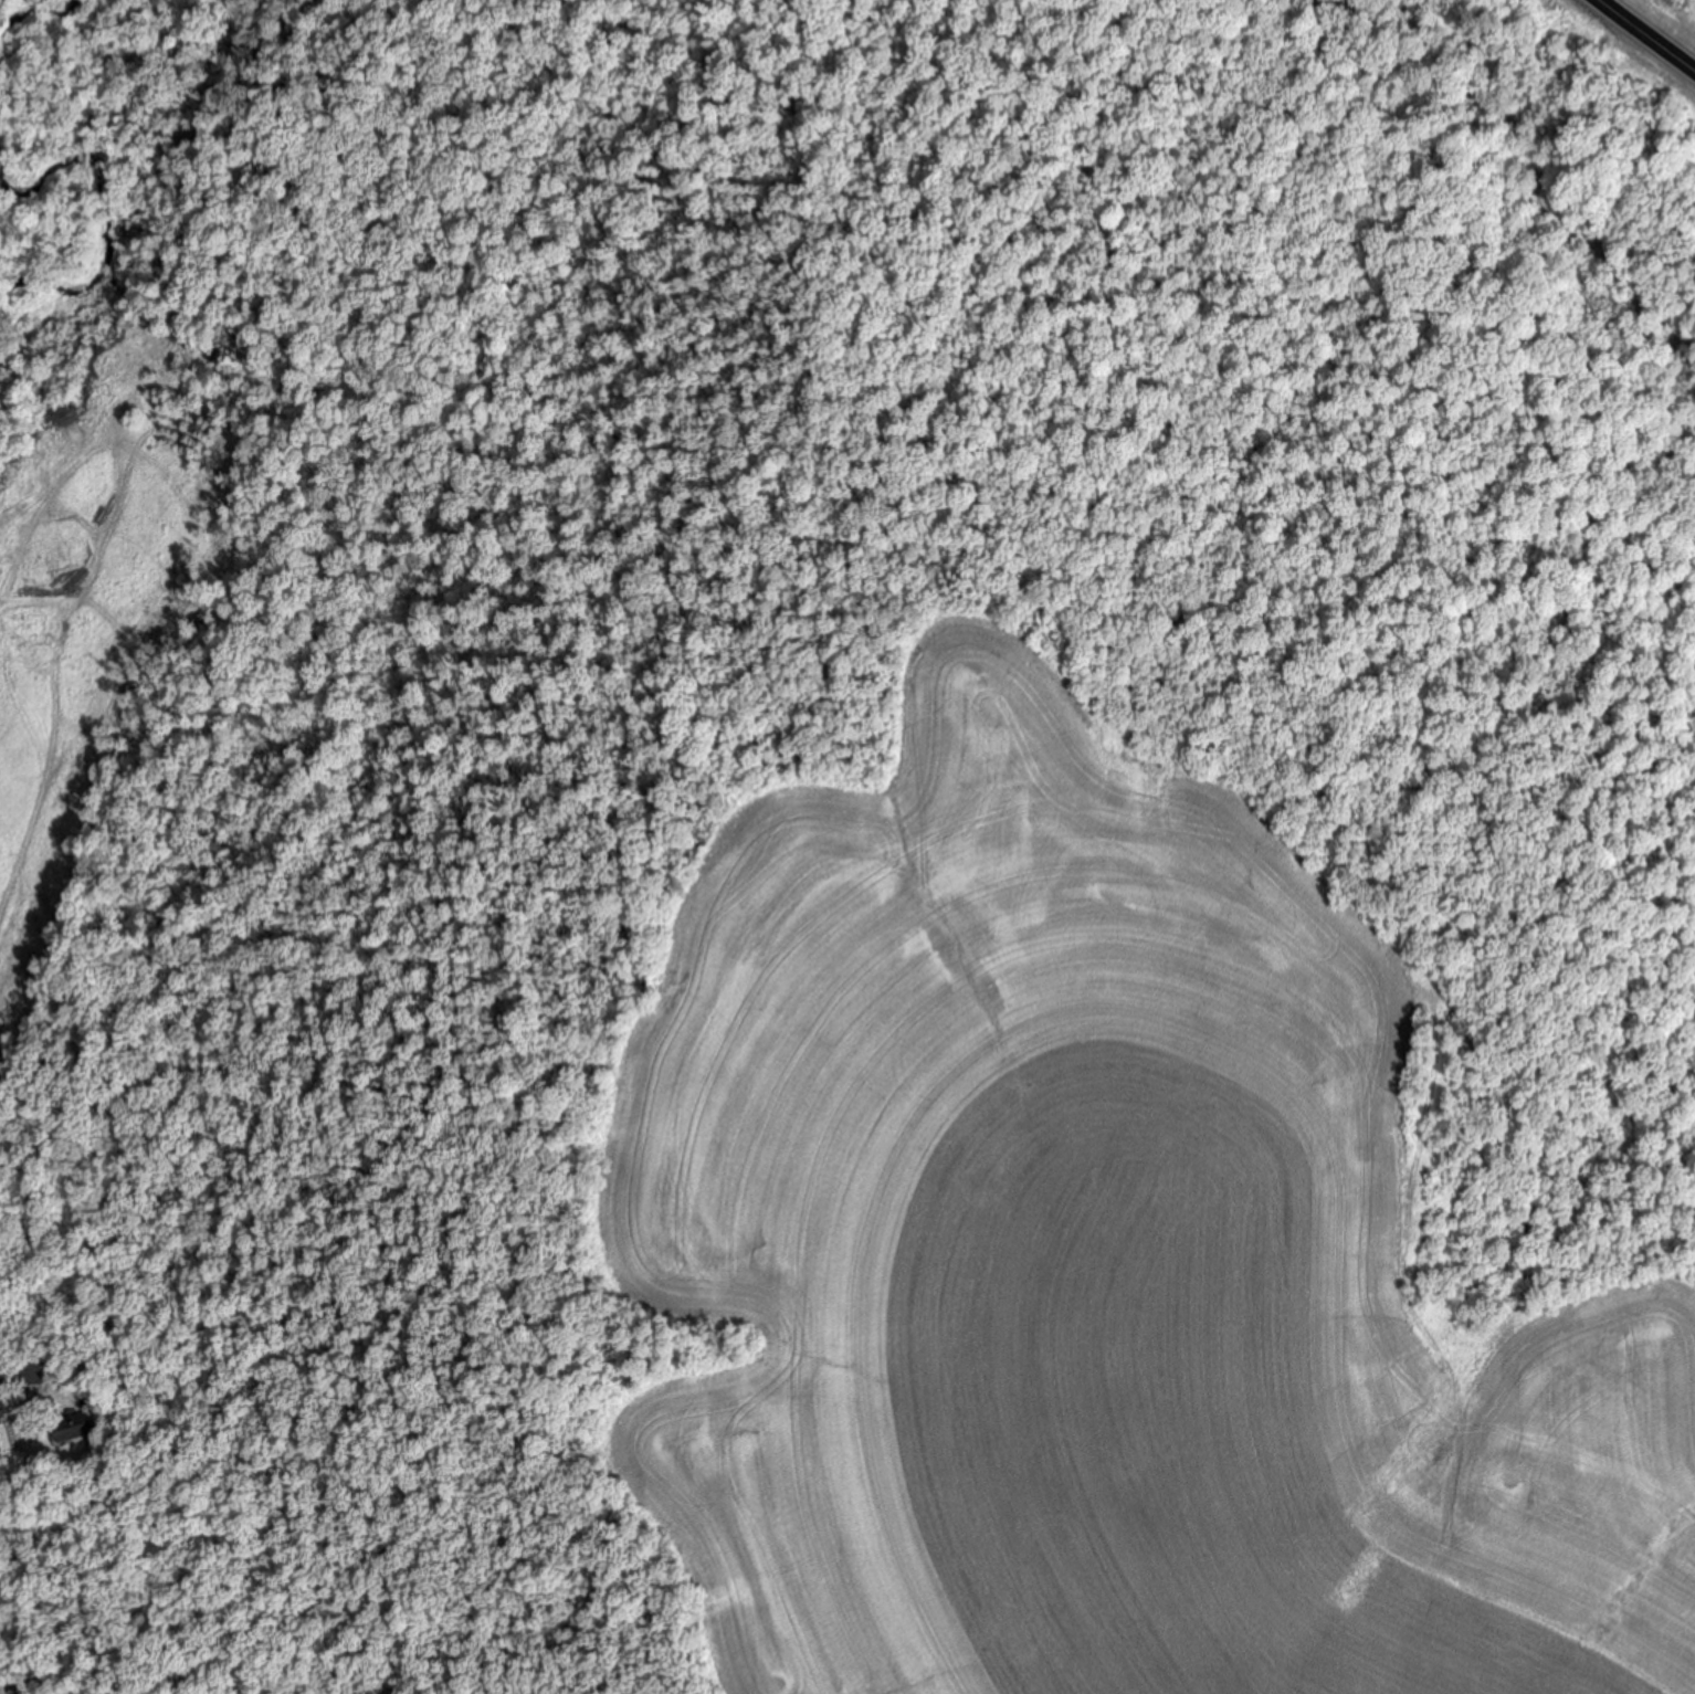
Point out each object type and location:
road: (1647, 34)
building: (1463, 1035)
building: (32, 1374)
building: (73, 1429)
road: (470, 1482)

